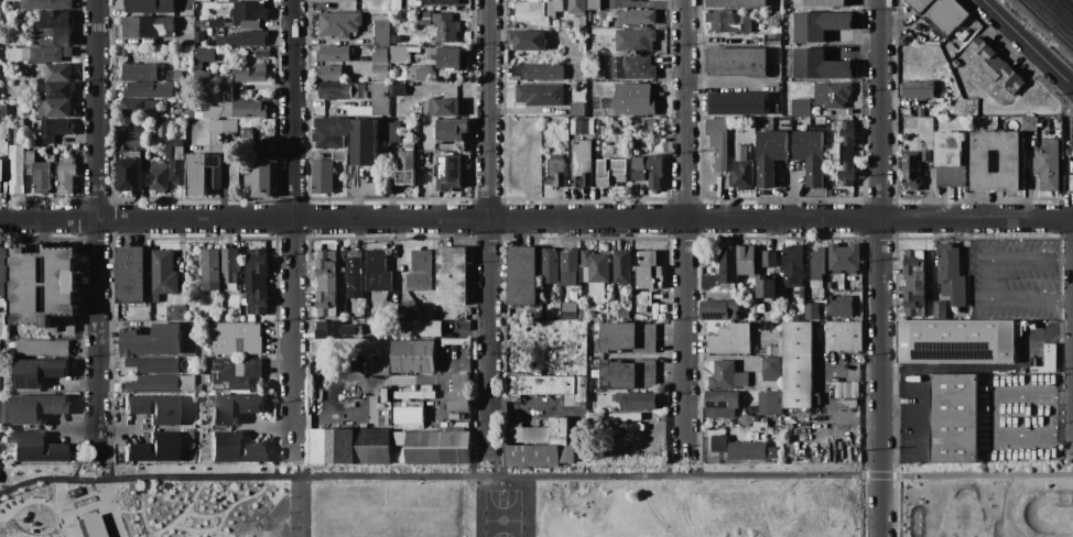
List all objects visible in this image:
building: (202, 0)
building: (346, 0)
building: (556, 0)
building: (626, 0)
building: (442, 2)
building: (736, 3)
building: (823, 3)
building: (46, 4)
building: (593, 4)
building: (576, 7)
building: (149, 8)
building: (553, 8)
railway: (1063, 8)
building: (388, 12)
building: (531, 13)
building: (248, 14)
building: (939, 14)
railway: (1056, 14)
building: (638, 17)
building: (382, 18)
building: (423, 19)
building: (53, 21)
building: (576, 21)
building: (725, 22)
building: (216, 23)
railway: (1048, 23)
building: (339, 24)
building: (820, 25)
building: (758, 26)
building: (148, 28)
building: (445, 28)
building: (381, 33)
building: (54, 37)
building: (249, 39)
building: (395, 40)
building: (529, 40)
building: (633, 41)
building: (208, 44)
road: (1026, 45)
building: (415, 50)
building: (234, 53)
building: (24, 54)
building: (48, 54)
building: (205, 54)
building: (262, 54)
building: (334, 54)
building: (380, 54)
building: (397, 54)
building: (444, 56)
building: (380, 62)
building: (737, 62)
building: (616, 63)
building: (955, 64)
building: (819, 66)
building: (995, 66)
building: (638, 68)
building: (380, 69)
building: (141, 72)
building: (416, 72)
building: (58, 73)
building: (536, 73)
building: (329, 74)
building: (251, 75)
building: (173, 76)
building: (398, 76)
building: (600, 76)
building: (379, 77)
building: (226, 78)
building: (940, 78)
building: (247, 87)
building: (56, 89)
building: (149, 90)
building: (225, 90)
building: (335, 90)
building: (360, 90)
building: (398, 90)
building: (917, 90)
building: (539, 95)
building: (833, 96)
building: (581, 97)
building: (379, 99)
building: (632, 99)
building: (939, 100)
building: (738, 103)
building: (138, 108)
building: (444, 108)
building: (773, 108)
building: (800, 108)
building: (55, 109)
building: (191, 109)
building: (224, 109)
building: (3, 110)
building: (249, 110)
building: (577, 110)
building: (359, 111)
building: (207, 112)
building: (906, 112)
building: (921, 112)
building: (198, 113)
building: (215, 114)
building: (1029, 123)
building: (221, 125)
building: (582, 125)
building: (648, 125)
building: (120, 127)
building: (162, 129)
building: (54, 130)
building: (451, 130)
building: (391, 132)
building: (246, 133)
building: (349, 139)
building: (718, 142)
building: (929, 146)
building: (409, 147)
building: (949, 149)
building: (1072, 149)
building: (174, 150)
building: (151, 152)
building: (740, 153)
building: (425, 154)
building: (844, 154)
building: (810, 155)
building: (339, 156)
building: (769, 156)
building: (925, 156)
building: (150, 160)
building: (435, 161)
building: (213, 162)
building: (994, 162)
building: (582, 164)
building: (1048, 165)
building: (798, 167)
building: (1071, 167)
building: (15, 169)
building: (405, 169)
building: (911, 169)
building: (176, 171)
building: (649, 171)
building: (611, 172)
building: (37, 173)
building: (448, 173)
building: (555, 173)
building: (65, 175)
building: (129, 175)
building: (196, 175)
building: (741, 175)
building: (158, 176)
building: (950, 176)
building: (2, 177)
building: (322, 177)
building: (261, 178)
building: (214, 179)
building: (1071, 184)
road: (535, 219)
road: (488, 223)
road: (291, 224)
road: (685, 224)
road: (97, 227)
building: (342, 257)
building: (768, 259)
building: (844, 259)
building: (568, 260)
building: (746, 261)
building: (816, 263)
building: (549, 265)
building: (792, 265)
building: (593, 267)
building: (728, 267)
building: (230, 268)
road: (880, 268)
building: (212, 270)
building: (2, 271)
building: (420, 271)
building: (622, 271)
building: (377, 272)
building: (648, 272)
building: (162, 274)
building: (342, 274)
building: (130, 275)
building: (354, 275)
building: (951, 275)
building: (452, 276)
building: (521, 276)
building: (567, 278)
road: (988, 280)
building: (257, 281)
building: (708, 283)
building: (326, 284)
building: (913, 284)
building: (43, 285)
building: (816, 285)
building: (766, 287)
building: (342, 289)
building: (584, 292)
building: (801, 294)
building: (782, 295)
building: (241, 296)
building: (614, 297)
building: (643, 298)
building: (625, 300)
building: (663, 300)
building: (241, 302)
building: (655, 303)
building: (843, 307)
building: (389, 310)
building: (409, 310)
building: (548, 310)
building: (718, 310)
building: (939, 310)
building: (811, 311)
building: (175, 314)
building: (562, 314)
building: (582, 314)
building: (622, 315)
building: (226, 317)
building: (636, 317)
building: (799, 317)
building: (766, 326)
building: (427, 329)
building: (335, 330)
building: (387, 330)
building: (819, 335)
building: (843, 336)
building: (626, 338)
building: (236, 339)
building: (730, 340)
building: (152, 341)
building: (456, 341)
building: (768, 341)
building: (955, 341)
building: (780, 344)
building: (46, 348)
building: (760, 348)
building: (769, 351)
building: (413, 357)
building: (1048, 358)
building: (153, 364)
building: (798, 365)
building: (379, 369)
building: (771, 370)
building: (37, 372)
building: (235, 373)
building: (627, 375)
building: (722, 375)
building: (741, 380)
building: (153, 383)
building: (540, 385)
building: (409, 387)
building: (425, 388)
building: (581, 390)
building: (837, 390)
building: (846, 391)
building: (854, 391)
building: (414, 395)
building: (384, 396)
road: (824, 396)
building: (512, 398)
building: (720, 399)
building: (636, 401)
building: (459, 402)
building: (848, 403)
building: (770, 404)
building: (36, 408)
building: (153, 408)
building: (234, 408)
road: (533, 408)
building: (6, 412)
road: (993, 414)
building: (409, 415)
building: (720, 416)
building: (457, 417)
building: (953, 418)
building: (513, 419)
building: (759, 424)
building: (513, 425)
building: (453, 426)
building: (559, 430)
road: (640, 432)
building: (720, 432)
building: (188, 434)
building: (528, 435)
building: (774, 436)
building: (372, 438)
building: (399, 439)
building: (573, 440)
building: (719, 443)
building: (318, 446)
building: (332, 446)
building: (346, 446)
building: (153, 448)
building: (234, 448)
building: (437, 448)
building: (36, 449)
building: (639, 451)
building: (747, 451)
building: (772, 452)
building: (372, 454)
building: (567, 454)
building: (533, 456)
road: (495, 460)
road: (300, 461)
road: (692, 461)
road: (105, 464)
road: (588, 475)
road: (51, 479)
road: (78, 496)
park: (432, 500)
park: (985, 500)
road: (41, 501)
street lamp: (117, 504)
road: (301, 506)
road: (476, 506)
road: (528, 506)
road: (64, 507)
road: (83, 508)
road: (107, 508)
road: (141, 508)
road: (123, 511)
road: (184, 512)
road: (223, 514)
road: (204, 515)
building: (89, 526)
road: (149, 535)

